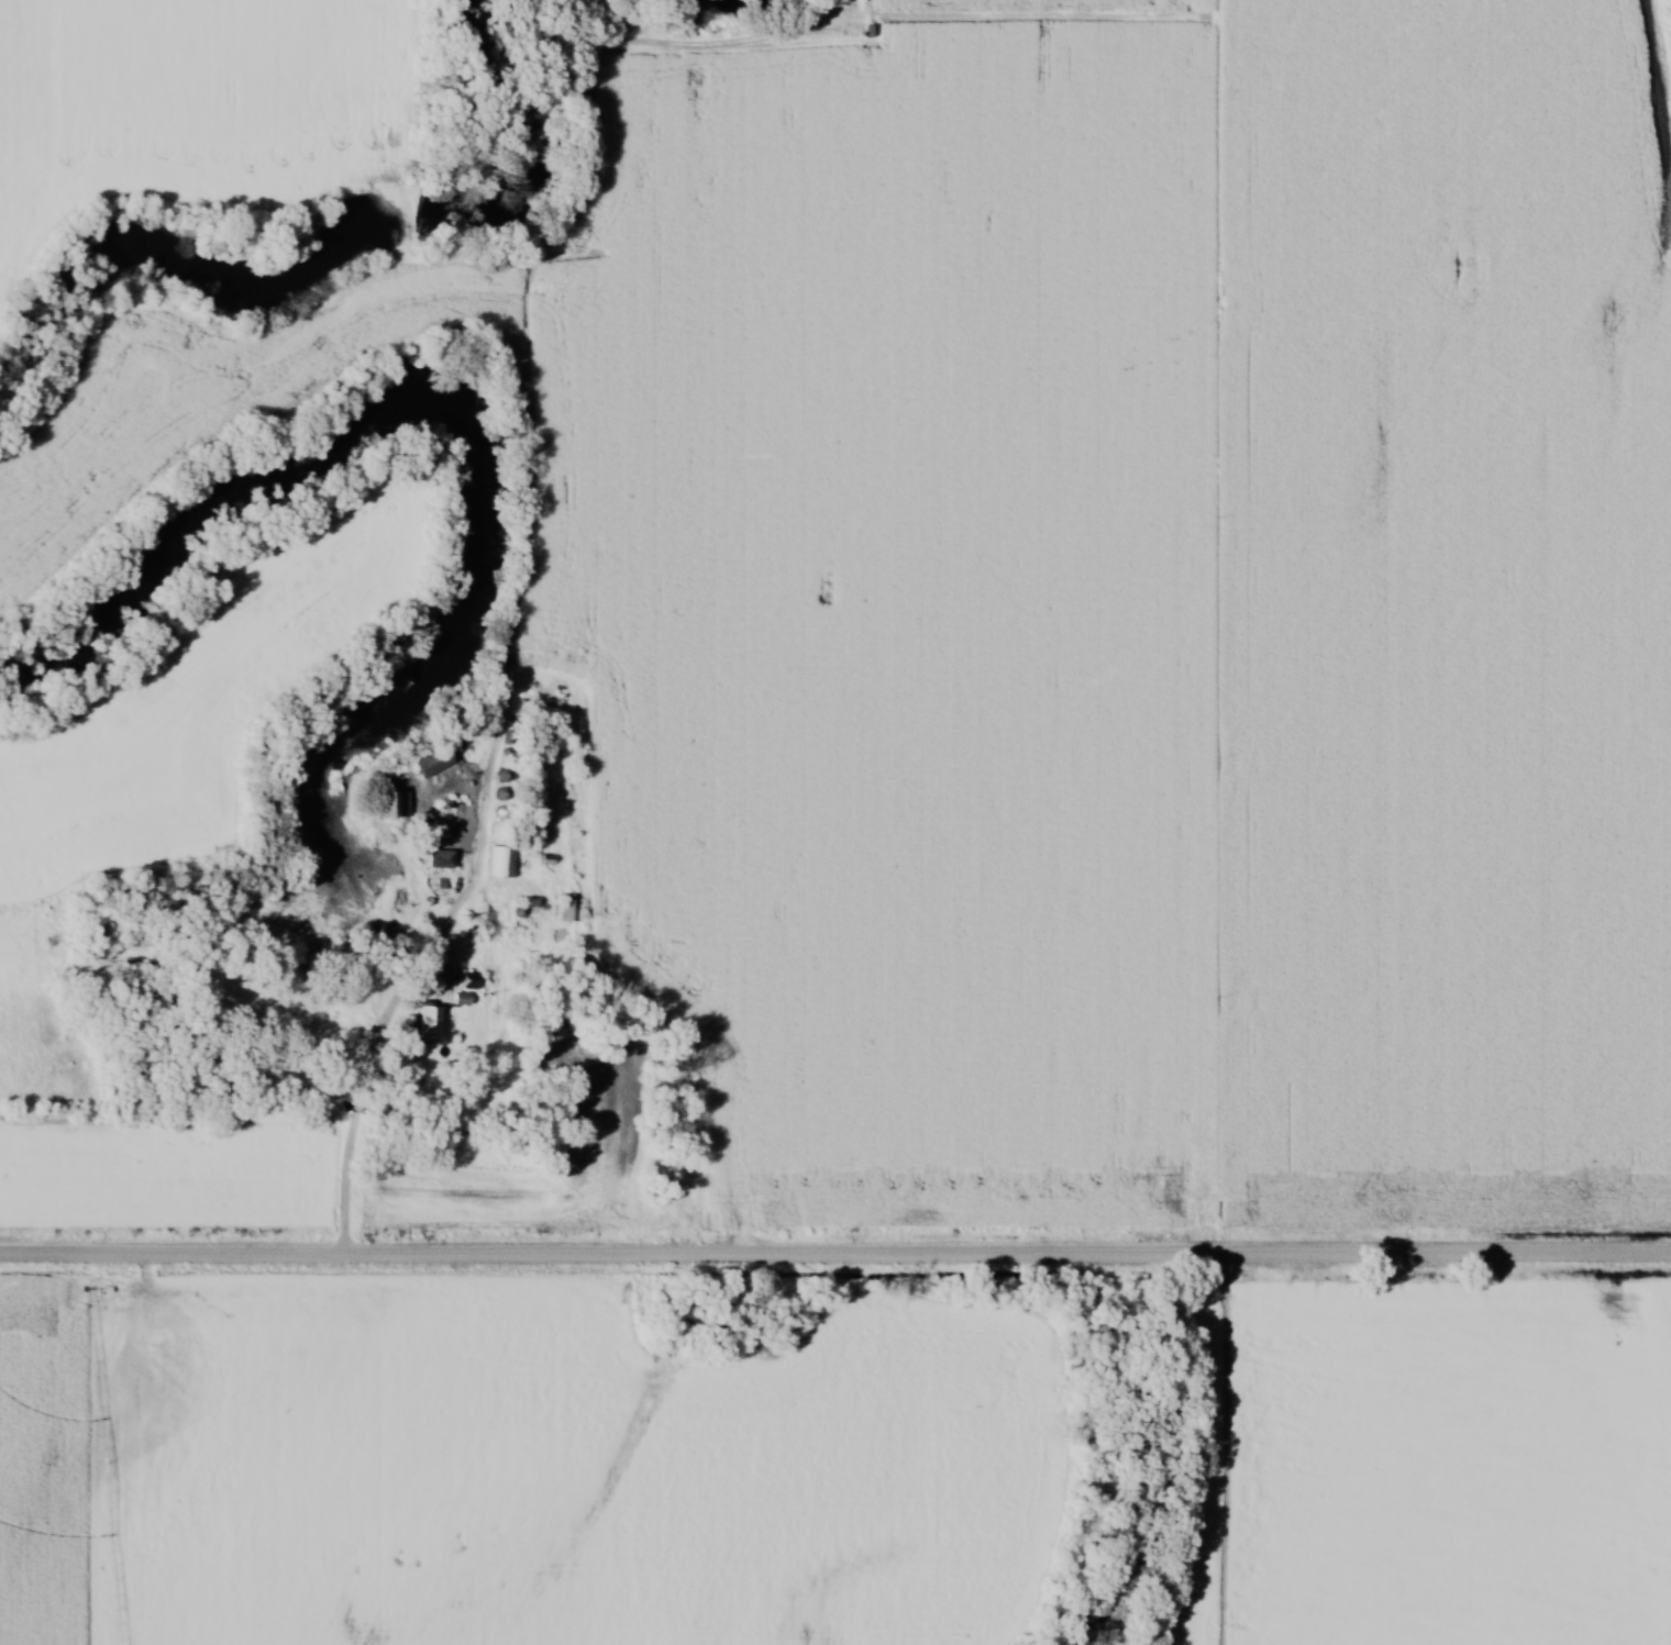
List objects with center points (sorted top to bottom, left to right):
building: (430, 763)
building: (389, 802)
building: (438, 859)
building: (498, 863)
building: (568, 908)
building: (467, 981)
building: (425, 1022)
road: (361, 1096)
road: (835, 1255)

